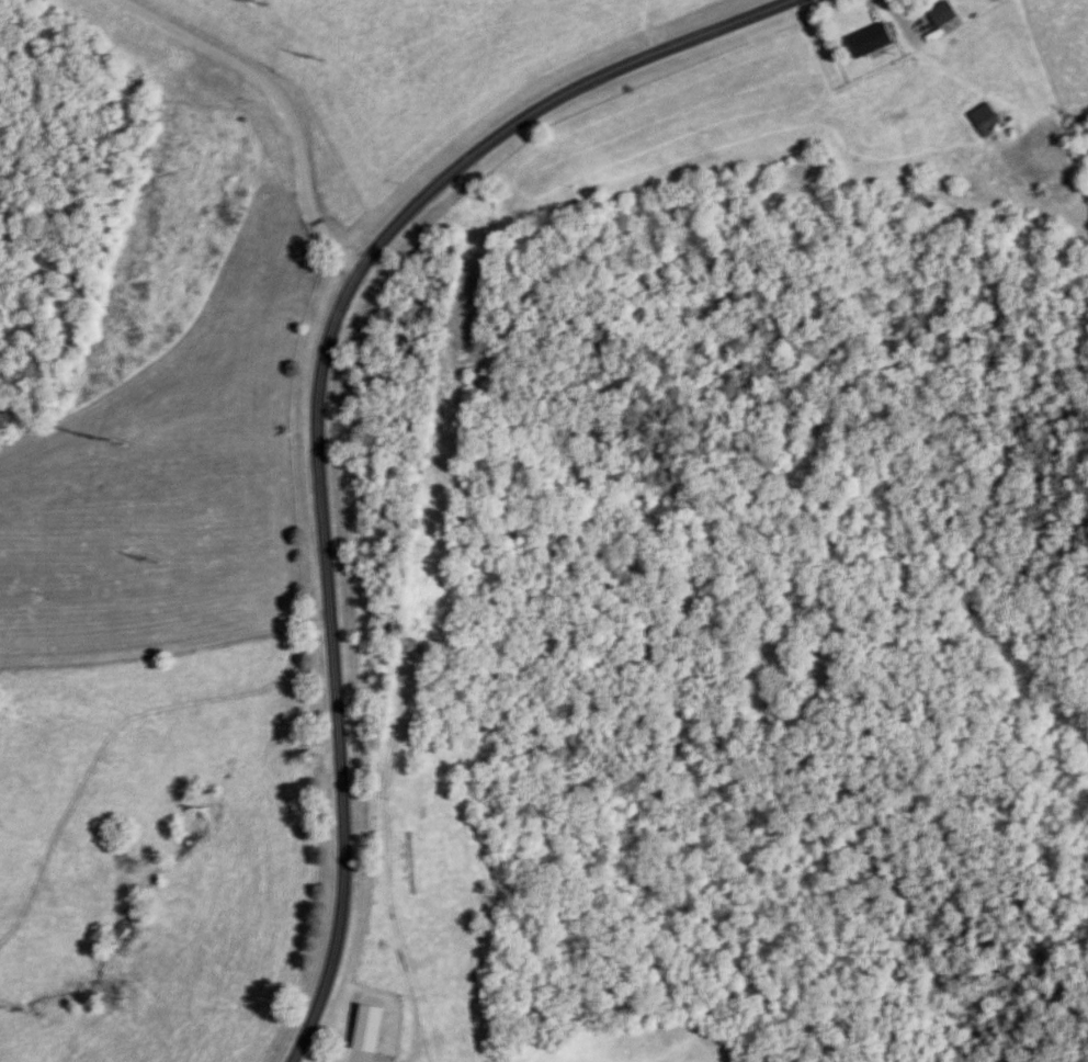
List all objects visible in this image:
power tower: (263, 1)
building: (945, 13)
building: (876, 39)
road: (280, 98)
road: (551, 105)
building: (988, 121)
building: (298, 269)
power tower: (117, 442)
road: (328, 667)
building: (373, 1027)

